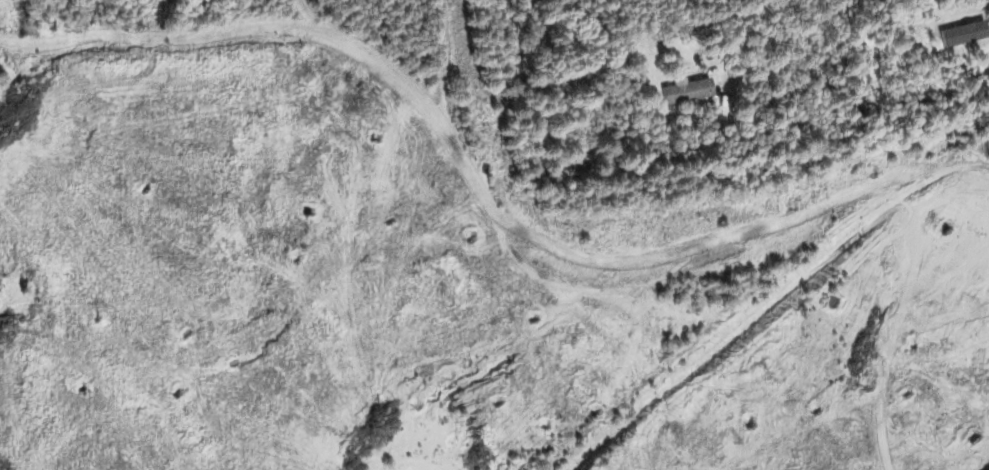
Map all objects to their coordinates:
building: (960, 32)
building: (684, 89)

